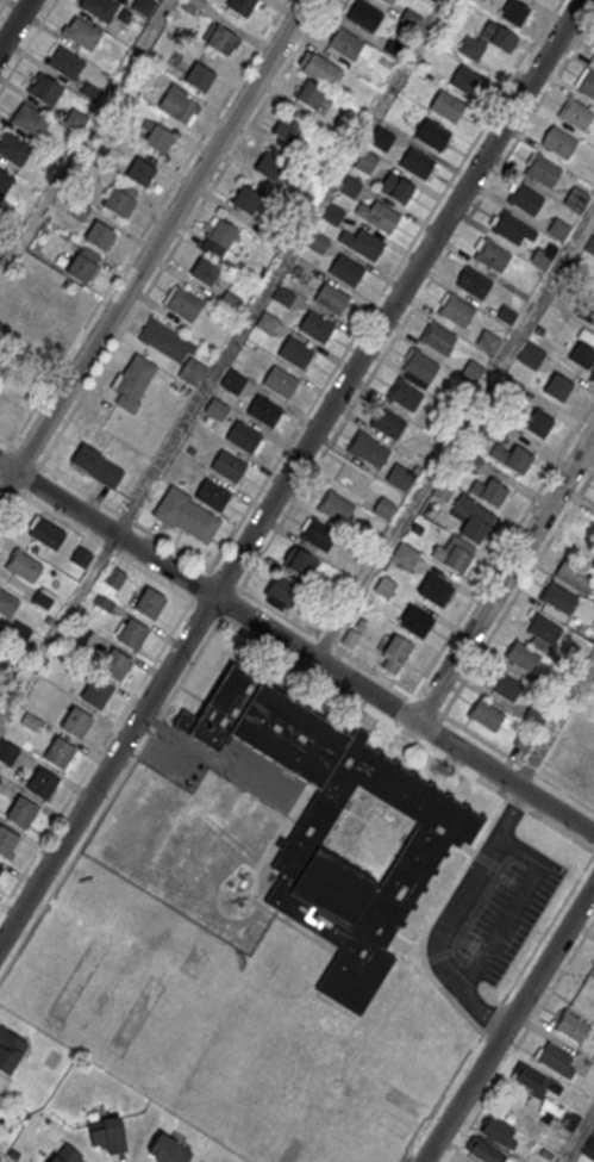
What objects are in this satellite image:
building: (433, 0)
building: (387, 1)
road: (2, 5)
building: (143, 6)
building: (240, 6)
building: (100, 8)
building: (514, 12)
building: (363, 15)
building: (411, 18)
road: (14, 24)
building: (81, 33)
building: (220, 39)
building: (488, 41)
road: (26, 44)
building: (346, 44)
building: (593, 58)
building: (593, 61)
building: (64, 63)
building: (318, 68)
building: (199, 77)
building: (467, 80)
building: (587, 82)
building: (45, 89)
building: (309, 94)
building: (446, 105)
building: (183, 111)
building: (576, 113)
building: (74, 118)
building: (30, 120)
building: (286, 129)
building: (432, 133)
road: (85, 137)
building: (381, 137)
building: (158, 138)
building: (558, 141)
building: (13, 149)
building: (365, 162)
building: (417, 162)
building: (268, 166)
building: (543, 170)
building: (139, 172)
building: (5, 181)
building: (350, 186)
building: (395, 187)
building: (525, 198)
building: (577, 198)
building: (245, 200)
building: (115, 201)
building: (381, 216)
building: (509, 226)
road: (144, 228)
building: (558, 228)
road: (183, 232)
building: (221, 234)
building: (98, 236)
building: (317, 241)
building: (365, 244)
building: (589, 244)
road: (152, 247)
building: (492, 254)
building: (540, 257)
road: (280, 267)
building: (80, 268)
building: (345, 269)
building: (204, 271)
building: (473, 281)
building: (283, 296)
building: (331, 298)
road: (417, 303)
building: (182, 304)
building: (44, 306)
building: (456, 309)
building: (592, 321)
building: (267, 322)
building: (315, 325)
building: (437, 336)
building: (487, 340)
building: (164, 341)
building: (295, 352)
building: (531, 353)
building: (581, 354)
building: (419, 366)
building: (471, 369)
building: (192, 372)
building: (233, 380)
building: (280, 380)
building: (133, 383)
building: (558, 387)
building: (404, 396)
building: (215, 408)
building: (263, 410)
building: (387, 423)
building: (537, 423)
road: (454, 434)
building: (243, 435)
building: (370, 453)
road: (5, 454)
building: (517, 460)
building: (96, 465)
building: (227, 465)
road: (289, 471)
building: (400, 477)
building: (212, 493)
building: (440, 493)
building: (493, 493)
building: (383, 507)
road: (110, 508)
building: (334, 508)
building: (186, 514)
road: (237, 524)
building: (473, 529)
building: (46, 534)
building: (317, 535)
road: (104, 546)
road: (502, 548)
building: (81, 555)
building: (404, 555)
building: (456, 559)
building: (299, 561)
building: (24, 566)
building: (574, 573)
building: (114, 577)
road: (504, 577)
building: (281, 590)
building: (433, 591)
building: (557, 596)
building: (42, 598)
building: (149, 603)
building: (7, 604)
building: (414, 621)
road: (227, 622)
building: (543, 627)
road: (57, 629)
building: (80, 630)
building: (132, 633)
building: (0, 636)
road: (296, 647)
building: (394, 653)
building: (521, 654)
building: (115, 664)
building: (502, 684)
building: (96, 692)
building: (484, 713)
road: (554, 719)
building: (75, 721)
building: (7, 751)
building: (58, 752)
building: (582, 756)
road: (95, 757)
road: (213, 758)
building: (42, 783)
road: (514, 806)
building: (21, 810)
building: (6, 840)
building: (434, 841)
building: (0, 866)
road: (508, 908)
road: (456, 914)
road: (488, 1018)
road: (508, 1023)
building: (573, 1026)
road: (519, 1040)
building: (8, 1050)
building: (555, 1060)
building: (593, 1061)
building: (532, 1080)
building: (498, 1130)
building: (107, 1135)
road: (579, 1138)
building: (588, 1148)
building: (168, 1149)
building: (482, 1149)
building: (65, 1154)

